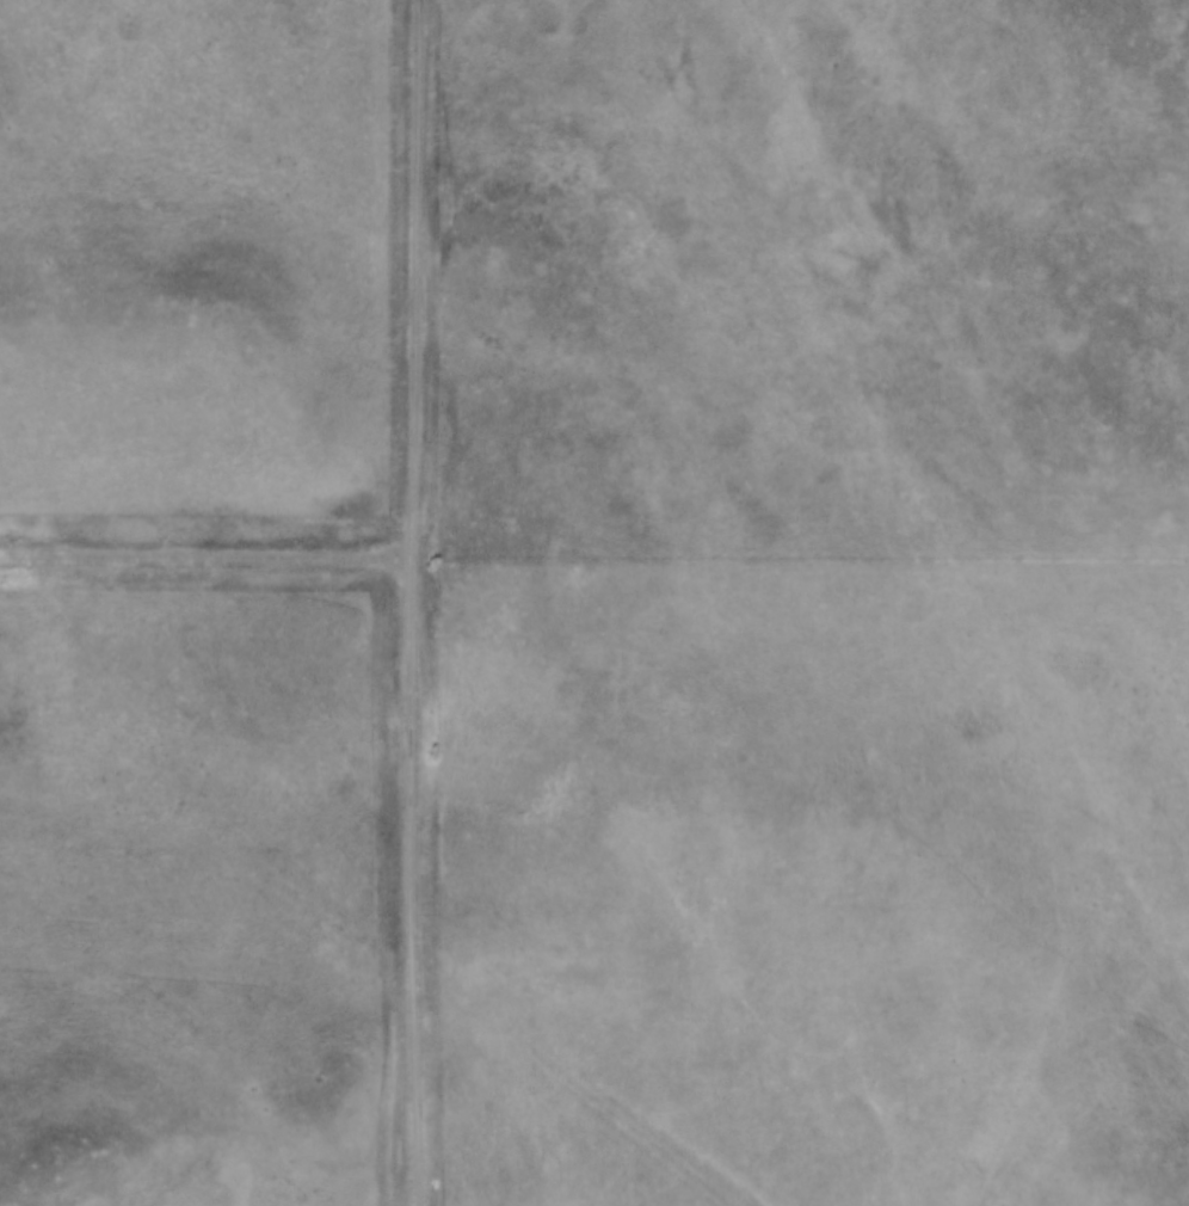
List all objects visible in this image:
road: (209, 564)
road: (417, 603)

